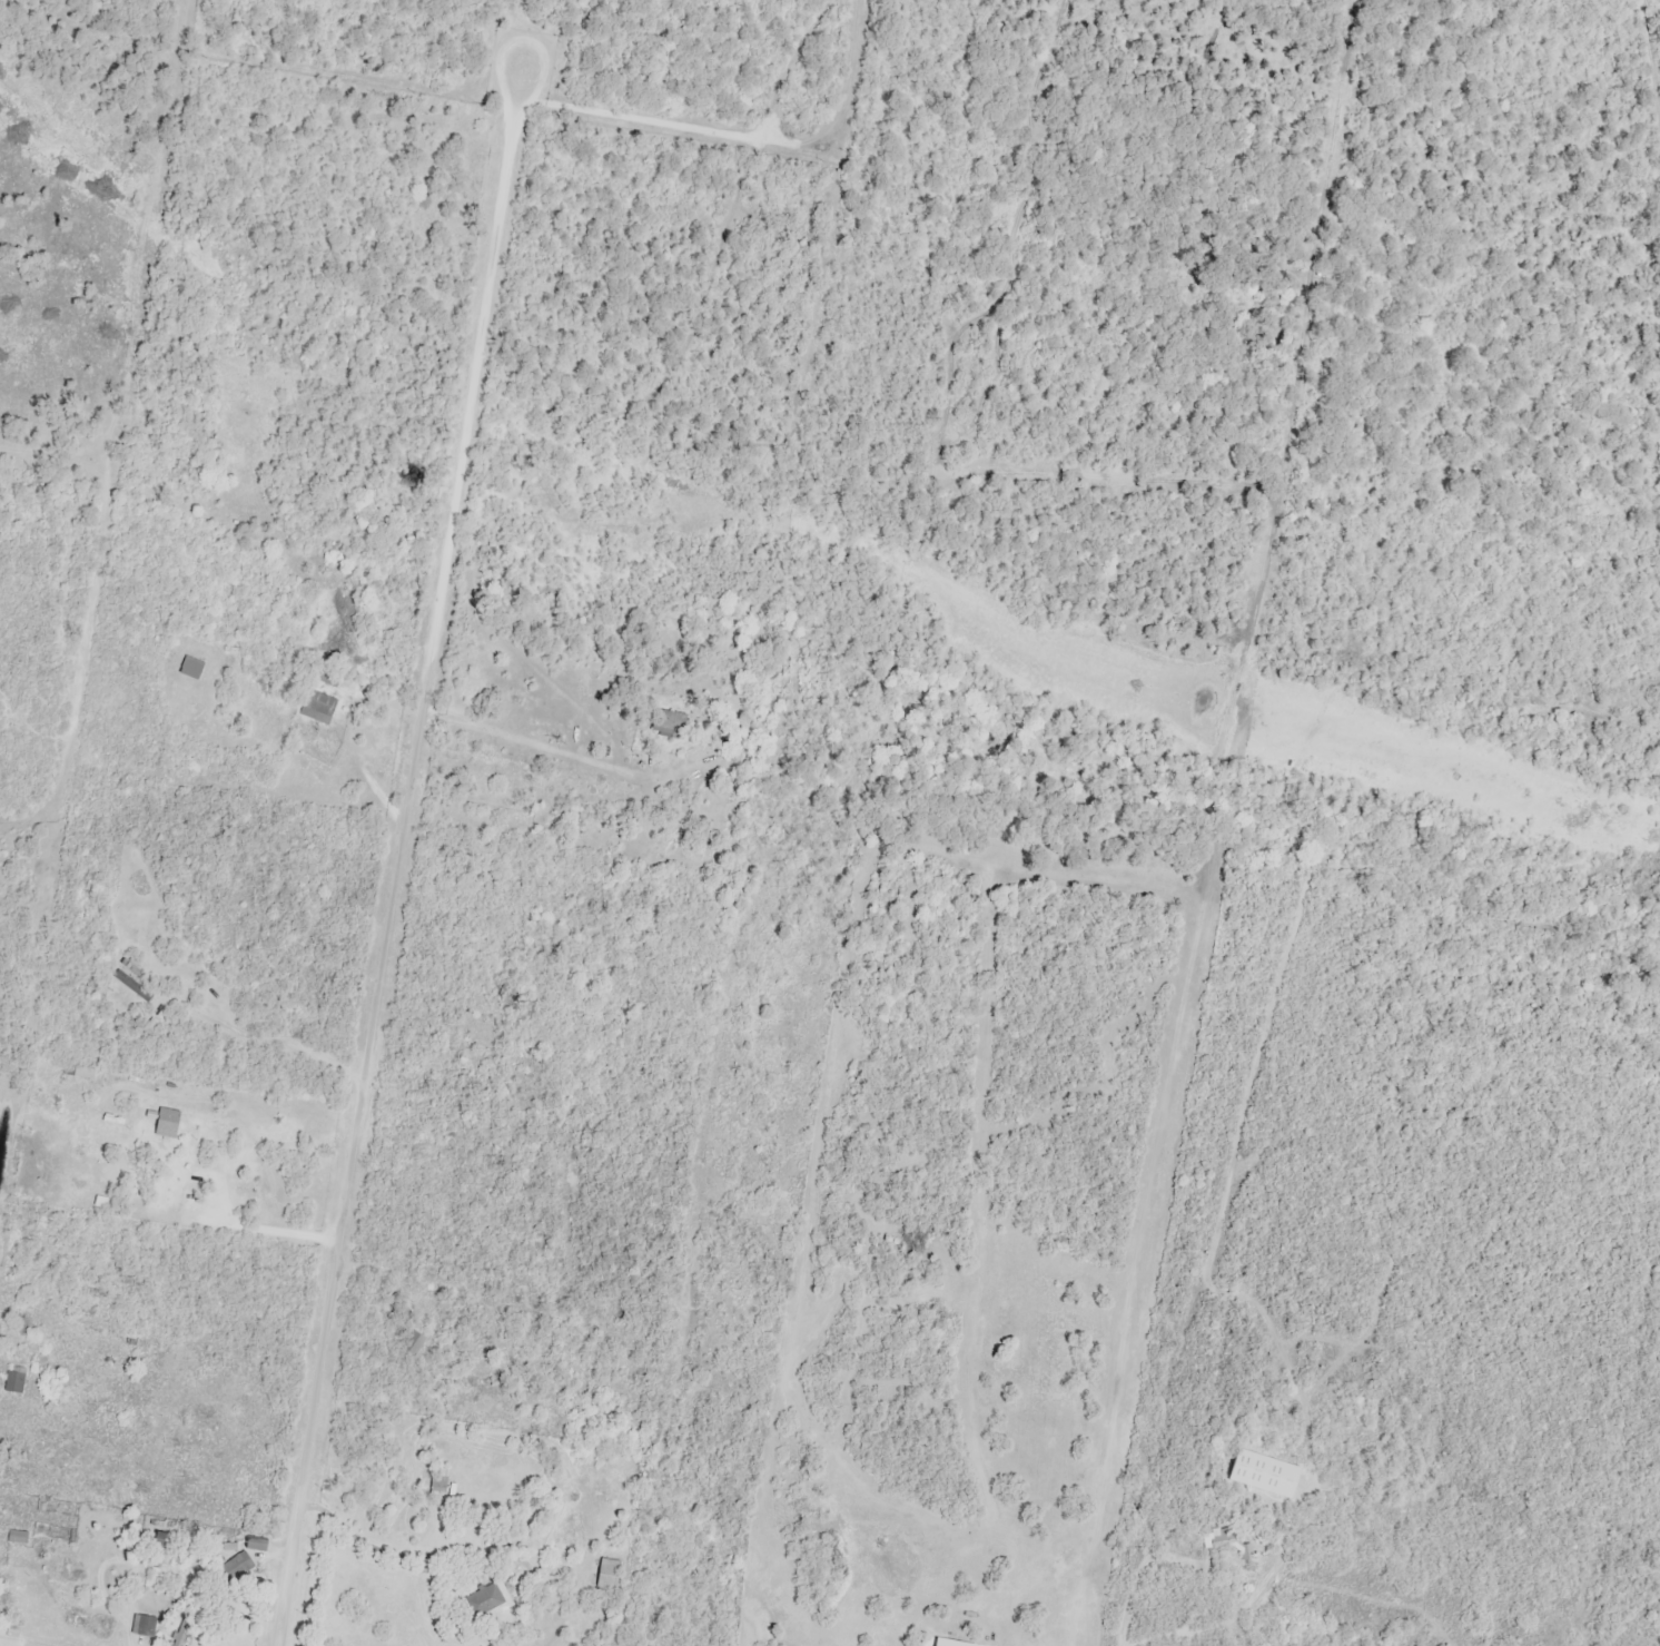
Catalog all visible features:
building: (191, 669)
building: (318, 708)
building: (669, 726)
road: (530, 739)
road: (399, 855)
building: (85, 1074)
building: (168, 1121)
building: (411, 1348)
building: (16, 1382)
building: (1264, 1475)
building: (438, 1481)
building: (18, 1538)
building: (165, 1541)
building: (257, 1546)
building: (236, 1569)
building: (607, 1576)
building: (486, 1601)
building: (2, 1607)
building: (144, 1626)
building: (182, 1633)

